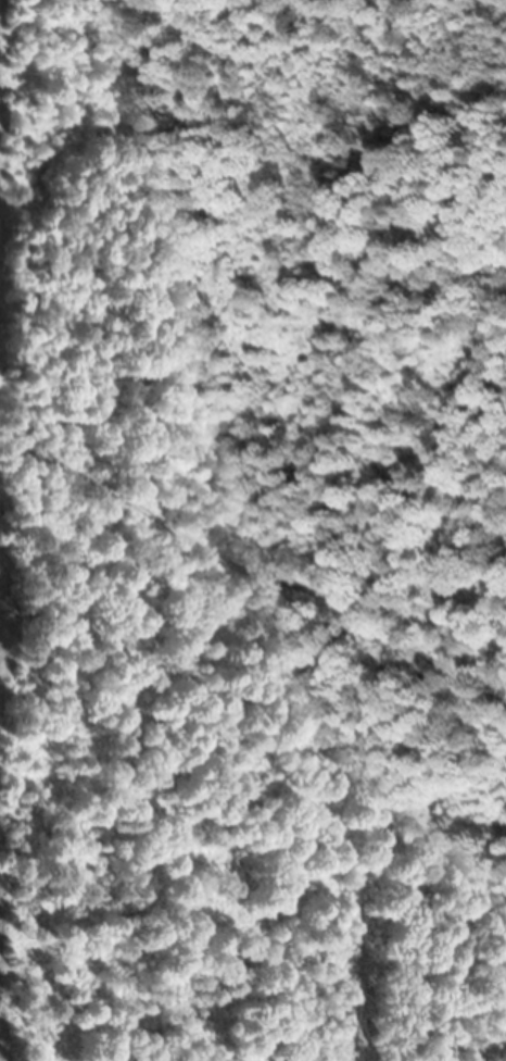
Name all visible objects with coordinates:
road: (252, 574)

